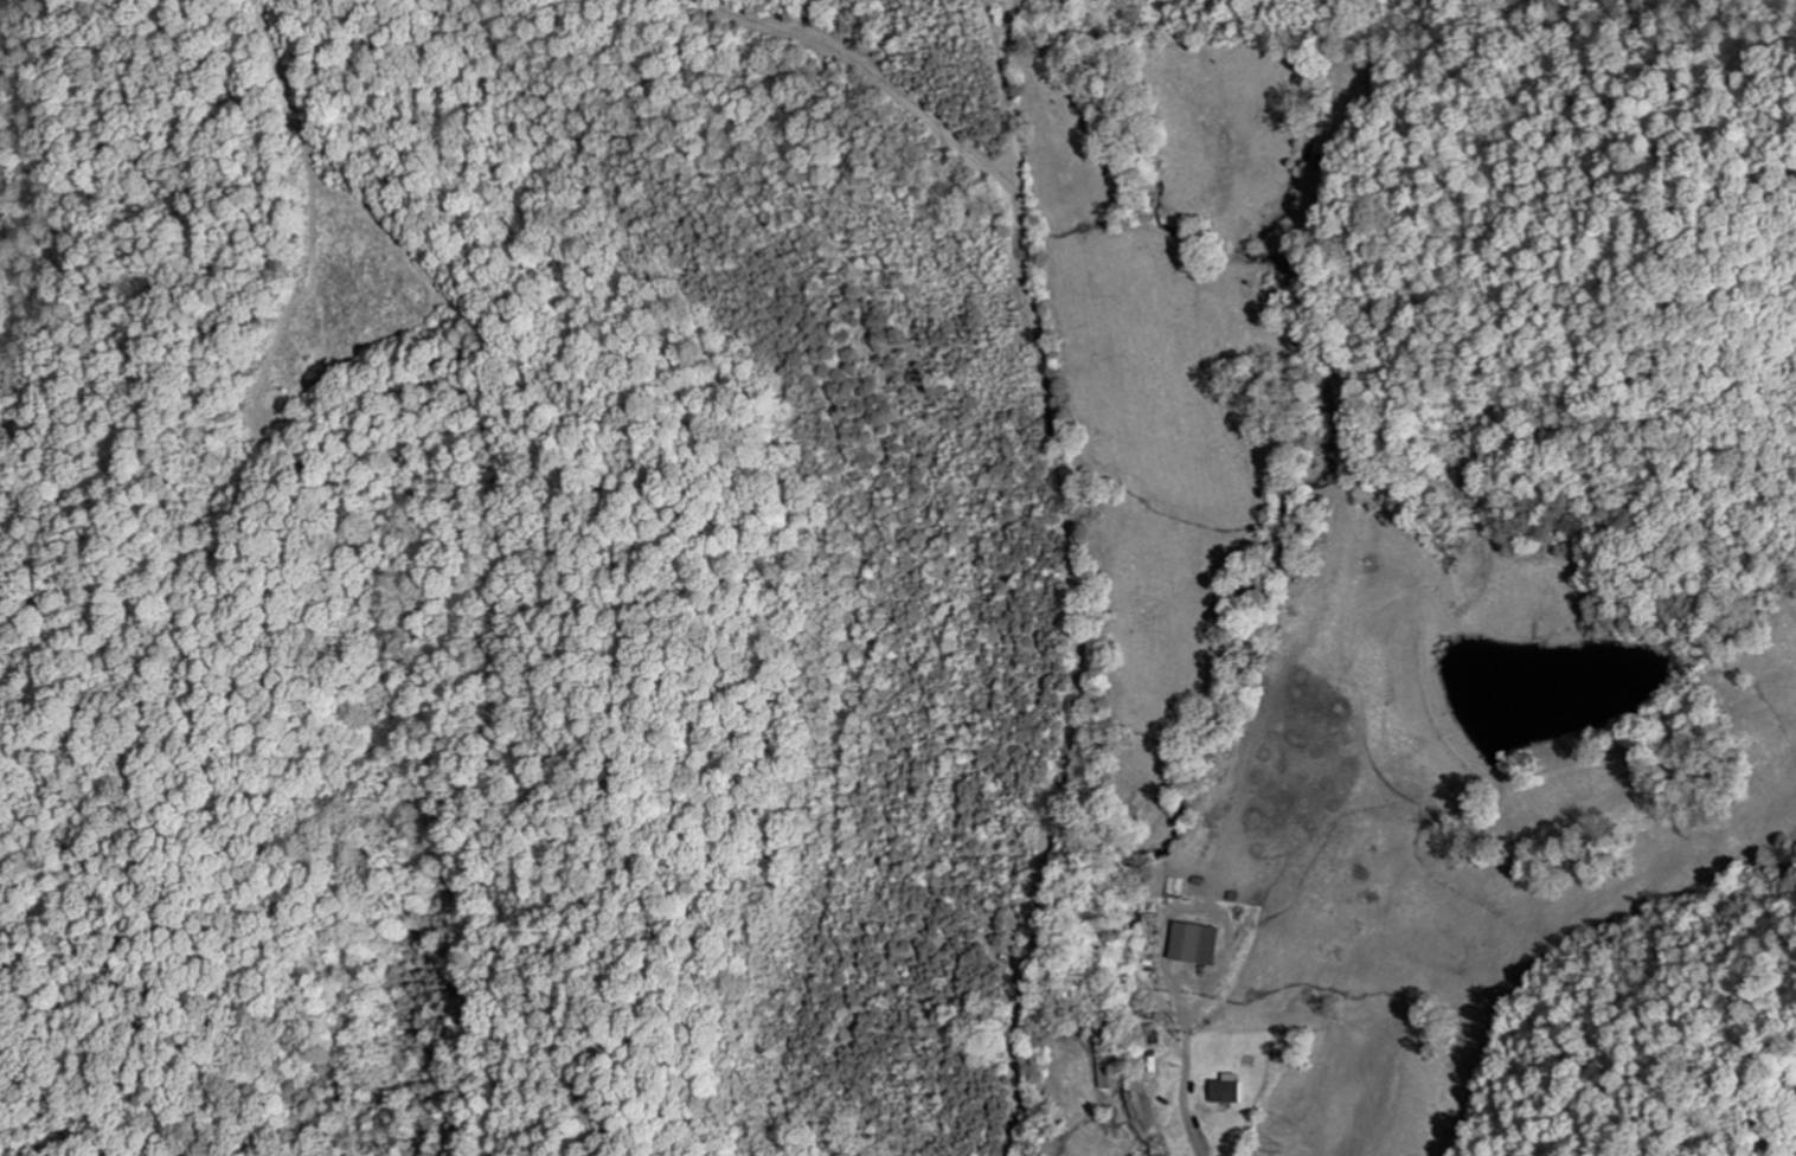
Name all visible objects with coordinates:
building: (1195, 942)
building: (1226, 1087)
road: (1199, 1145)

